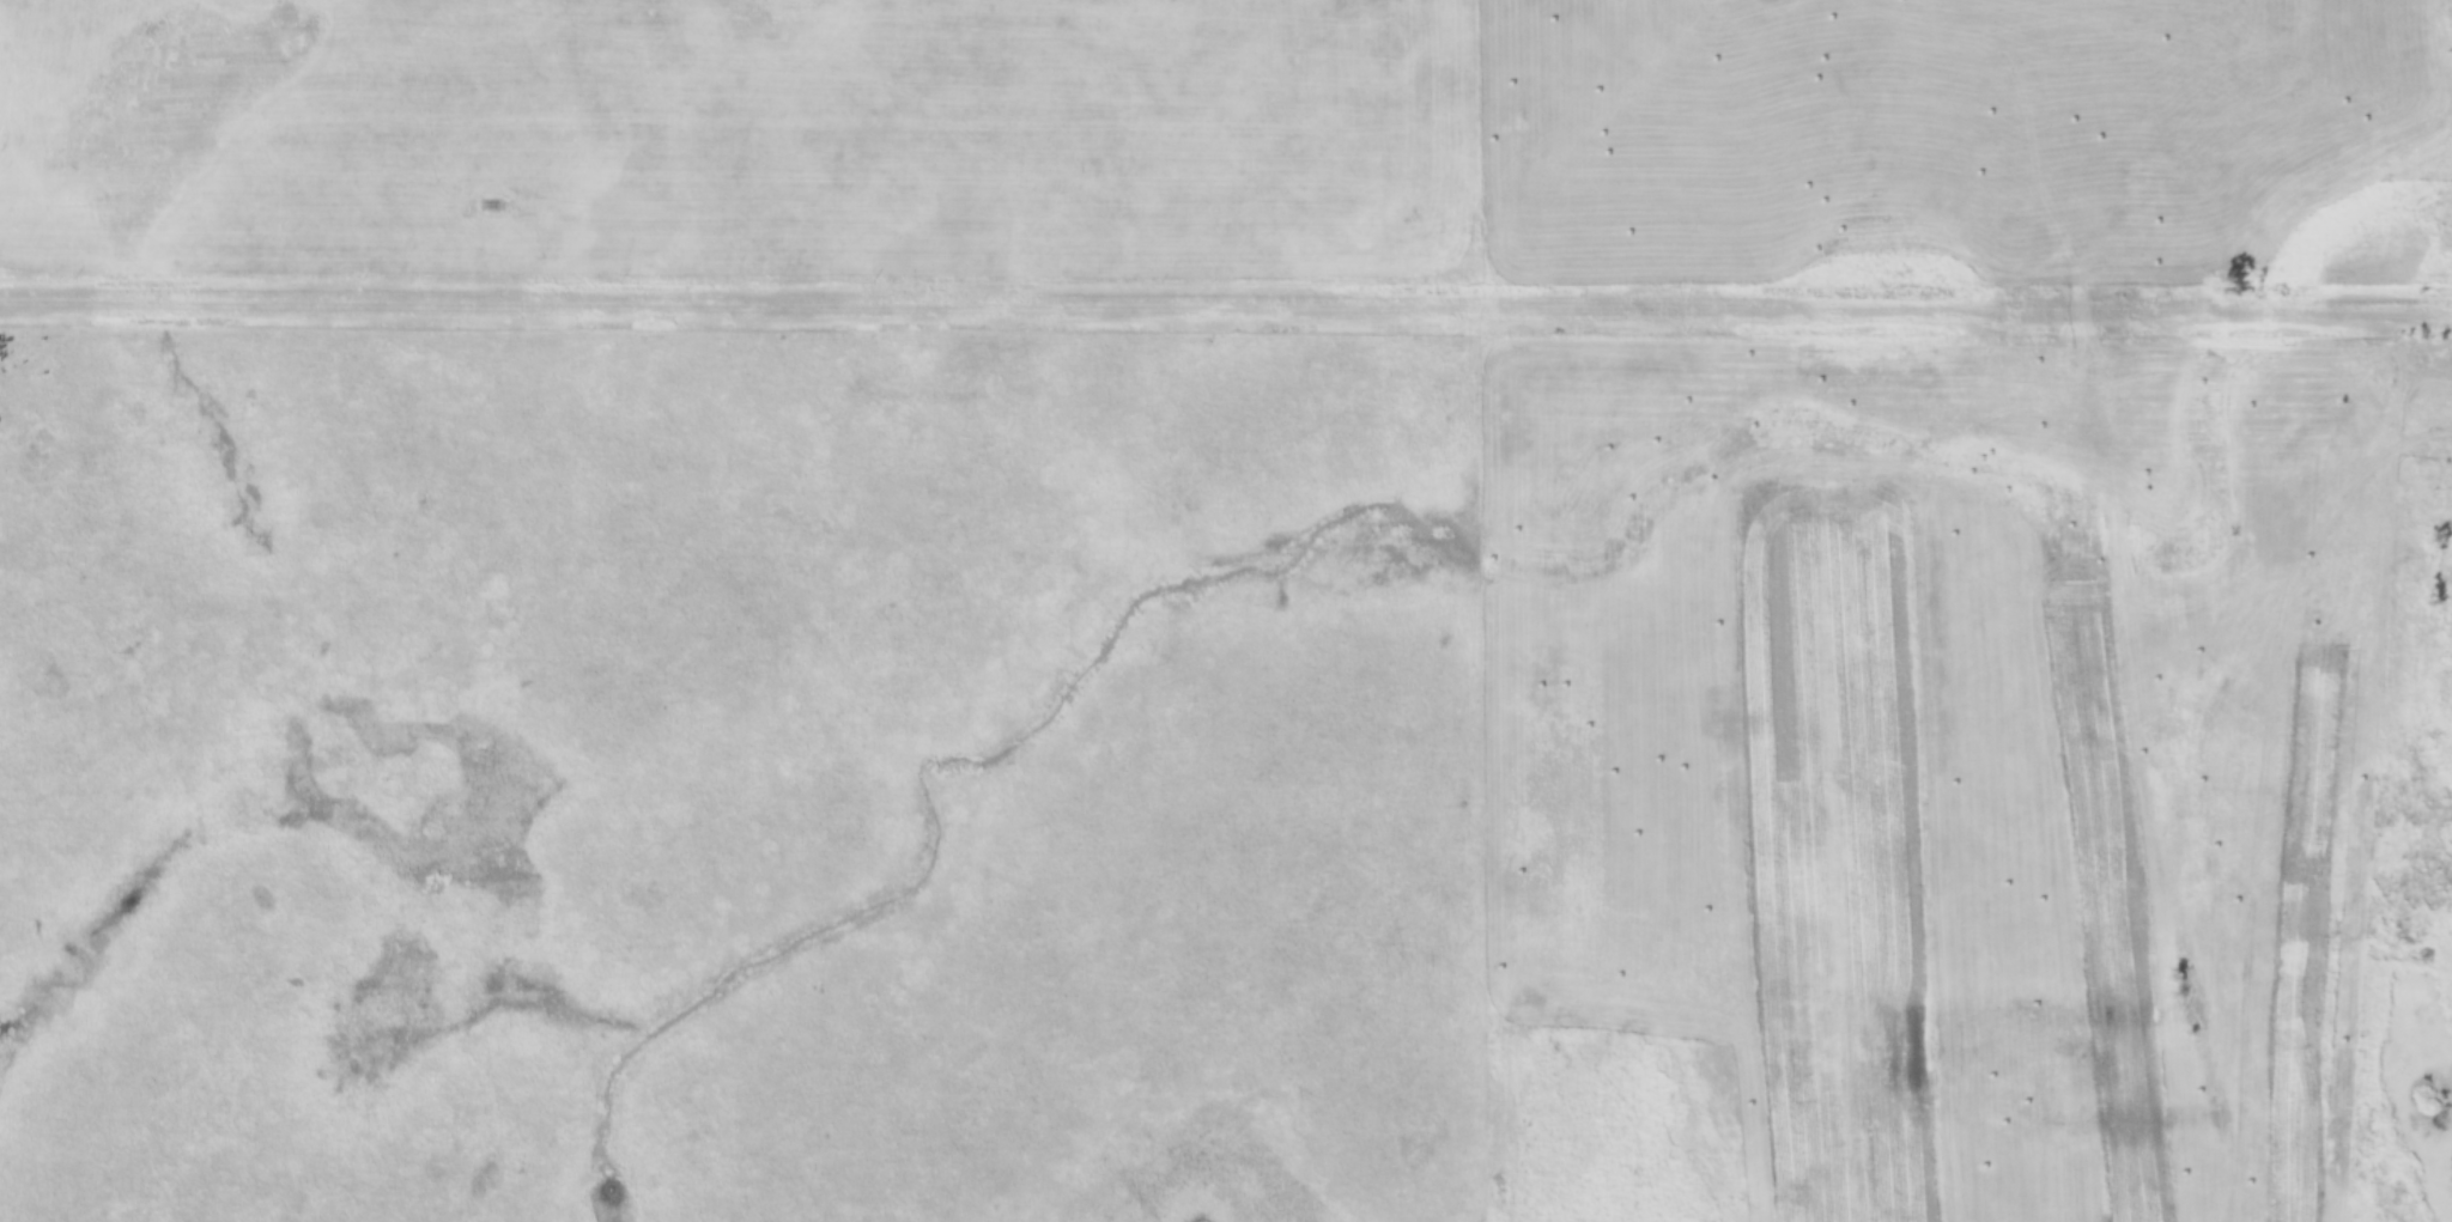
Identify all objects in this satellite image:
airport runway: (1200, 303)

